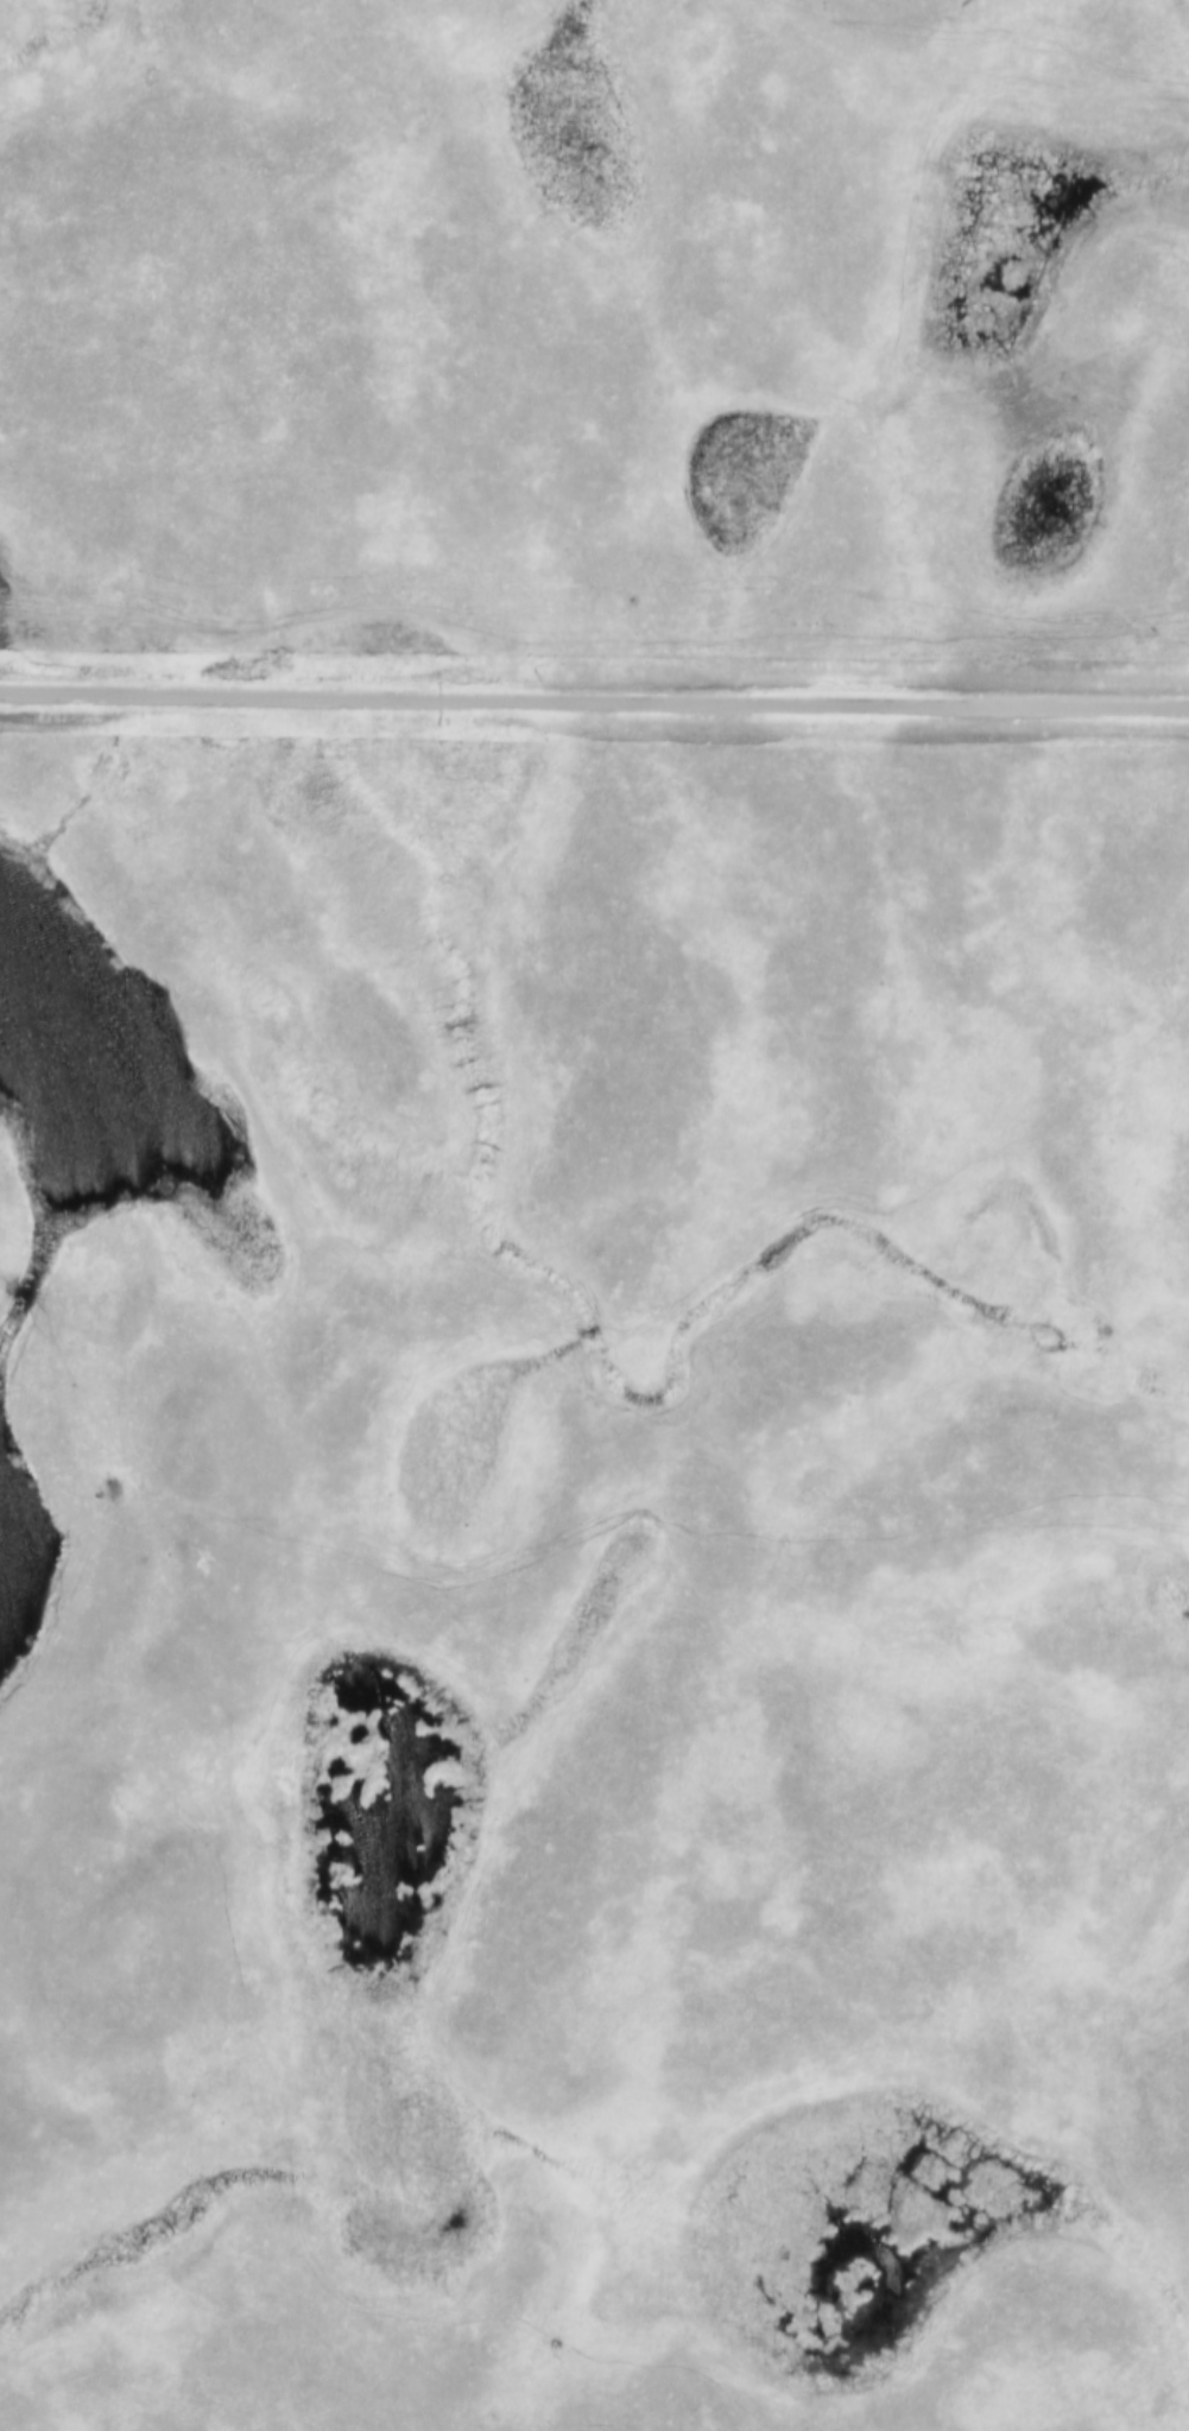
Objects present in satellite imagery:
road: (594, 705)

